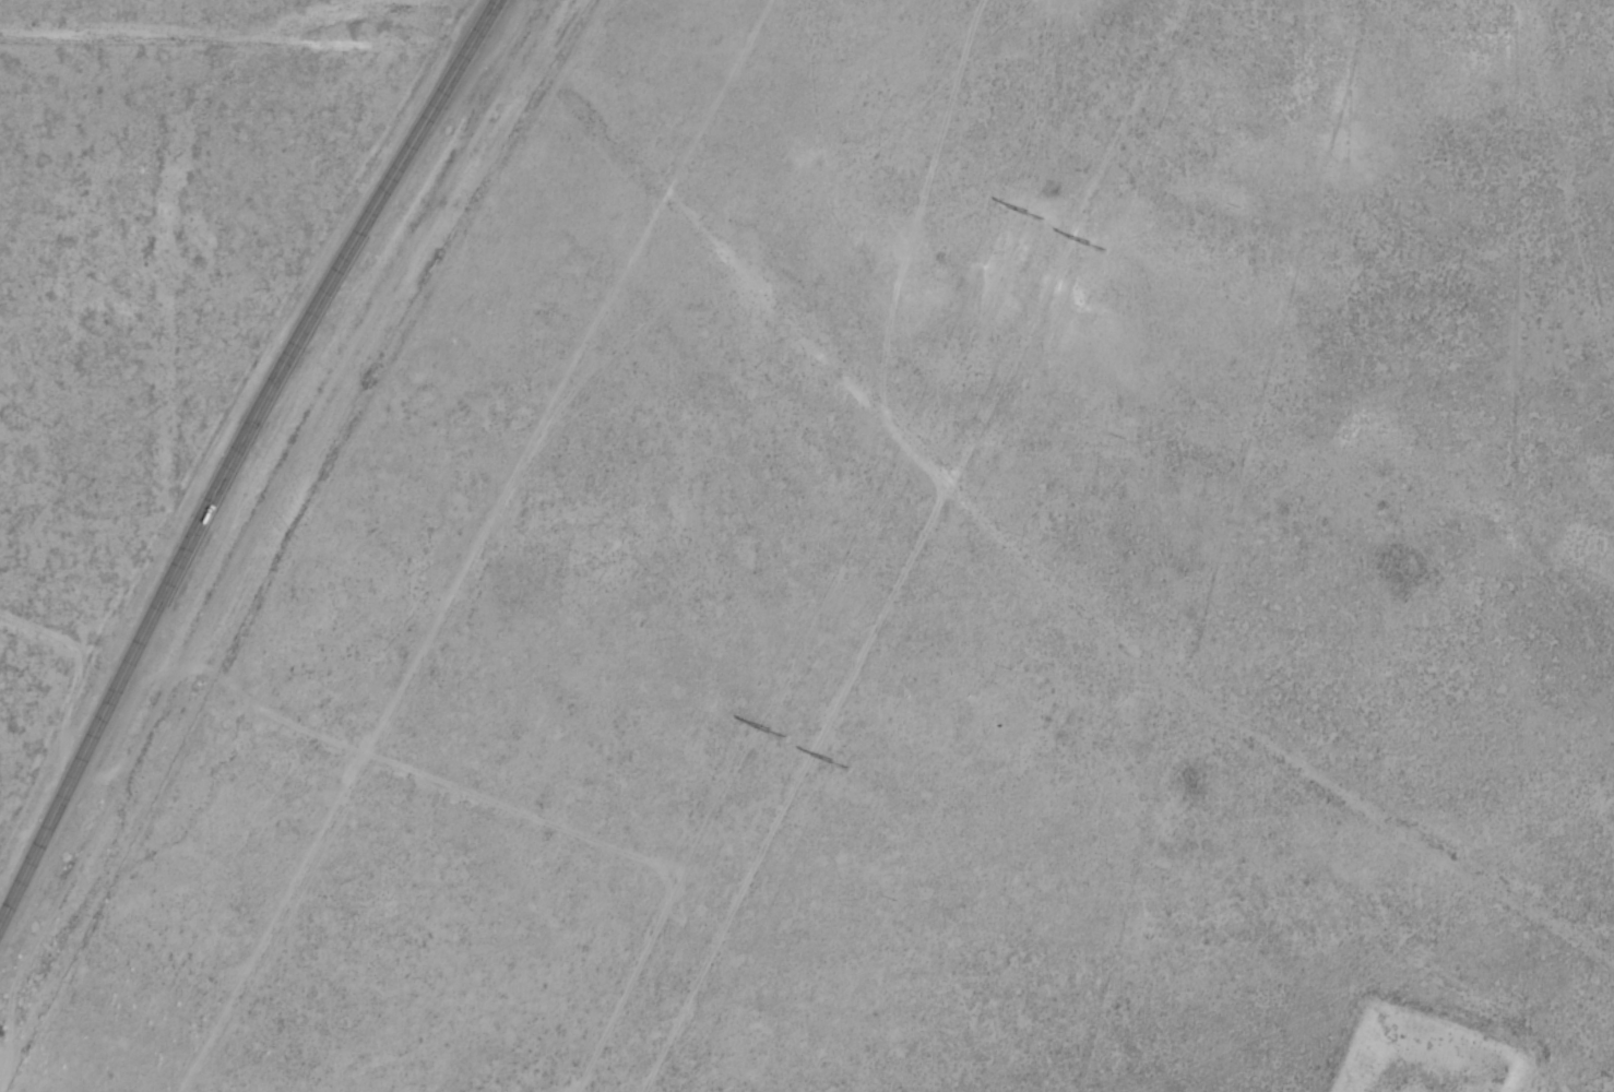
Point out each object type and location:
power tower: (1025, 210)
power tower: (1094, 239)
road: (233, 456)
power tower: (773, 731)
power tower: (851, 764)

